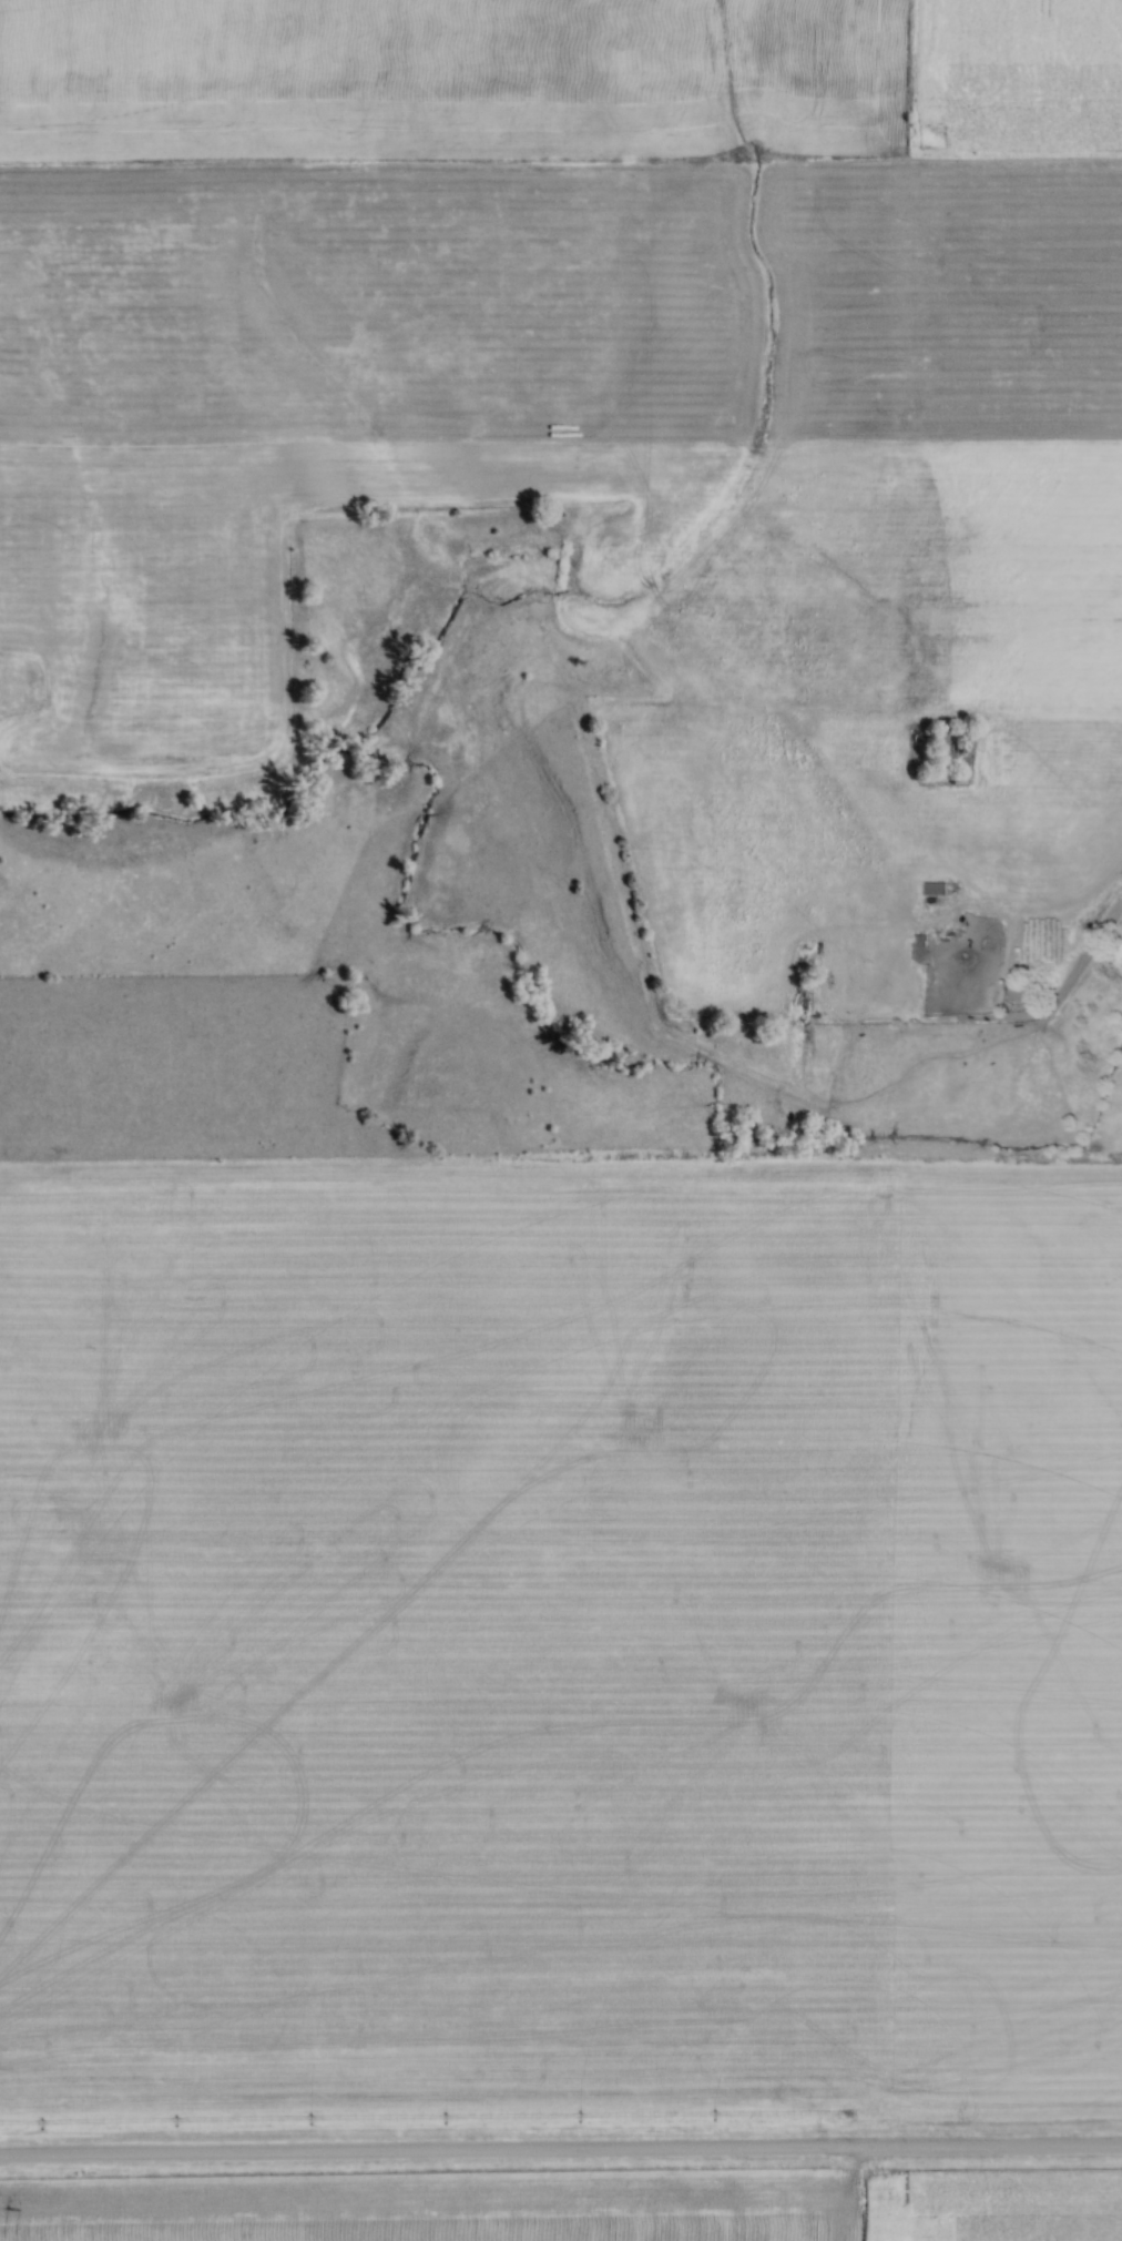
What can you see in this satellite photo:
building: (941, 742)
building: (932, 889)
road: (561, 2152)

